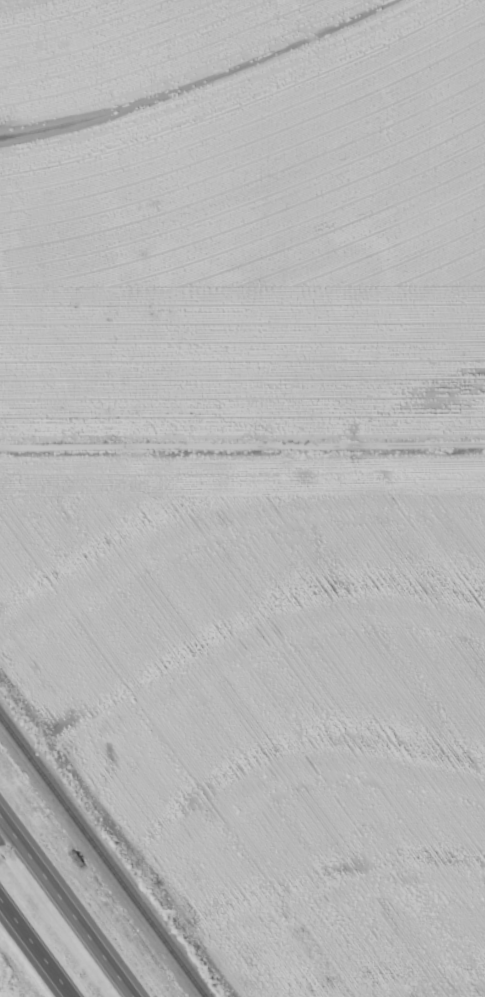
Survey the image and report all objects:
road: (242, 441)
road: (6, 826)
railway: (106, 855)
road: (71, 900)
road: (36, 947)

